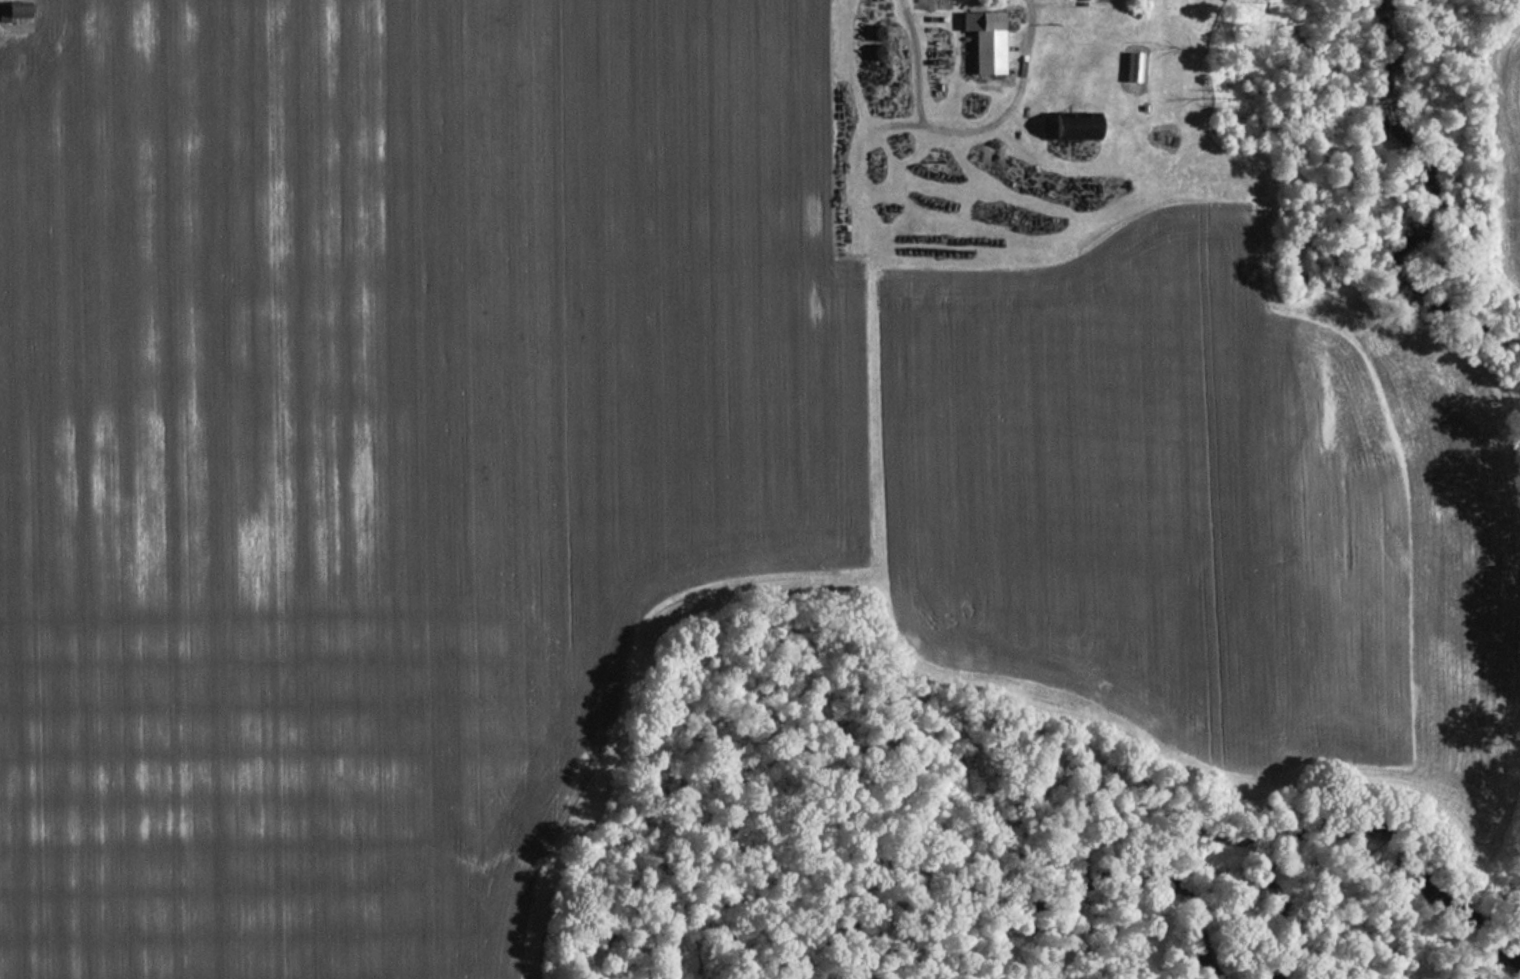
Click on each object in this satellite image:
building: (2, 11)
building: (980, 39)
building: (1068, 128)
crop: (1507, 128)
crop: (382, 445)
crop: (1131, 503)

